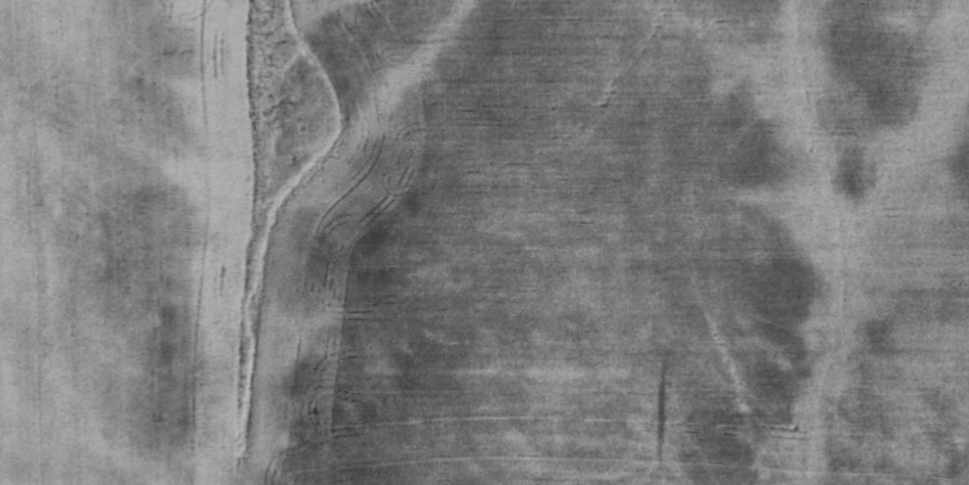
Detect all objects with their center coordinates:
road: (702, 242)

